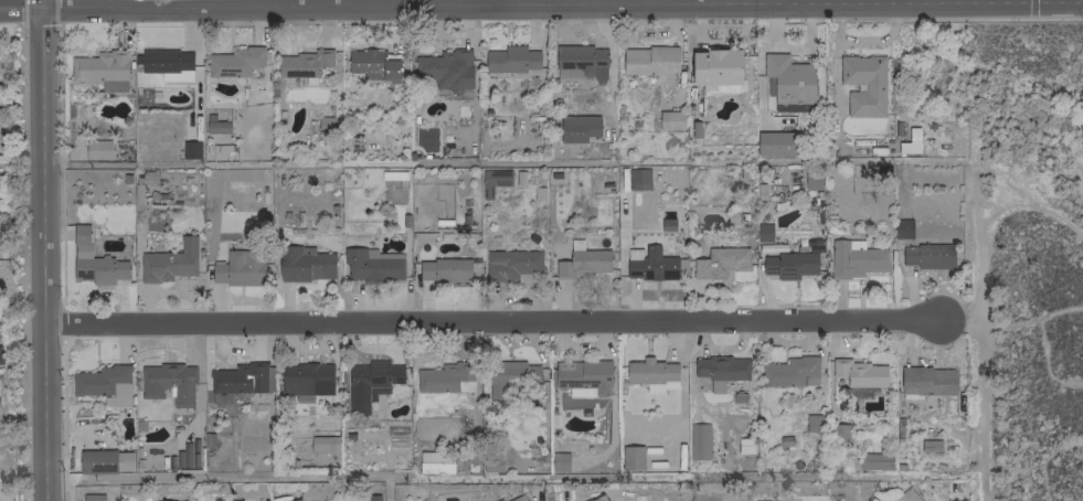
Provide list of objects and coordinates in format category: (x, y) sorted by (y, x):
road: (40, 3)
road: (194, 3)
road: (20, 7)
building: (511, 58)
building: (647, 60)
building: (580, 62)
building: (167, 63)
building: (235, 63)
building: (302, 63)
building: (373, 63)
building: (102, 68)
building: (443, 70)
building: (715, 70)
building: (789, 83)
building: (873, 86)
building: (669, 119)
building: (215, 125)
building: (577, 128)
building: (910, 141)
building: (775, 142)
building: (97, 149)
building: (190, 149)
building: (637, 179)
building: (492, 180)
building: (811, 180)
building: (901, 227)
building: (763, 231)
building: (79, 234)
road: (42, 253)
building: (927, 256)
park: (1023, 256)
building: (854, 258)
building: (581, 260)
building: (168, 262)
building: (720, 262)
building: (304, 263)
building: (371, 264)
building: (510, 264)
building: (652, 265)
building: (98, 269)
building: (236, 269)
building: (443, 269)
road: (490, 320)
building: (720, 370)
building: (789, 372)
building: (858, 372)
building: (651, 374)
building: (510, 376)
building: (242, 377)
building: (304, 377)
building: (444, 377)
building: (583, 377)
building: (926, 380)
building: (369, 382)
building: (168, 383)
building: (104, 384)
building: (860, 391)
building: (220, 397)
building: (814, 422)
building: (839, 436)
building: (698, 440)
building: (322, 444)
building: (928, 445)
building: (630, 457)
building: (96, 460)
building: (873, 460)
building: (434, 461)
building: (559, 461)
building: (372, 494)
building: (906, 495)
building: (92, 497)
building: (517, 498)
building: (598, 498)
building: (160, 500)
building: (297, 500)
building: (498, 500)

